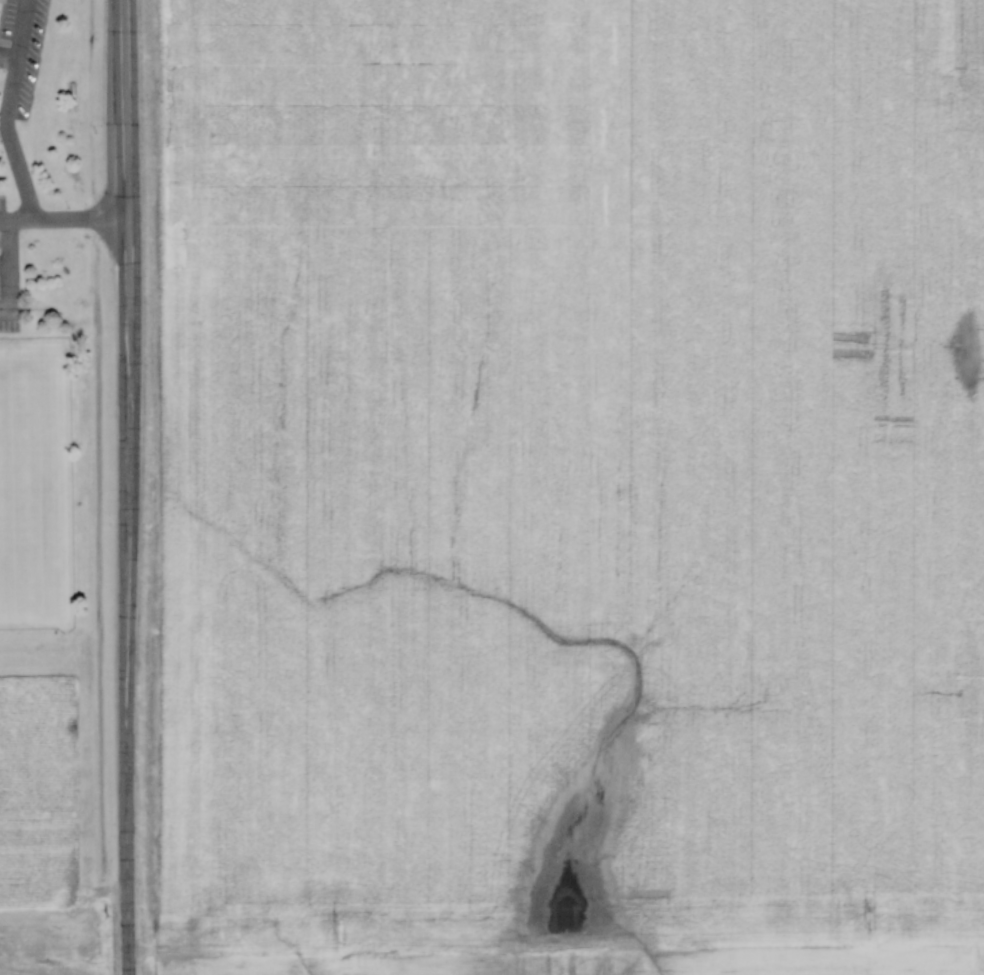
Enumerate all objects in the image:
road: (1, 7)
road: (8, 109)
road: (81, 215)
road: (17, 216)
road: (4, 262)
road: (9, 267)
road: (127, 487)
park: (31, 493)
power tower: (873, 917)
power tower: (340, 929)

